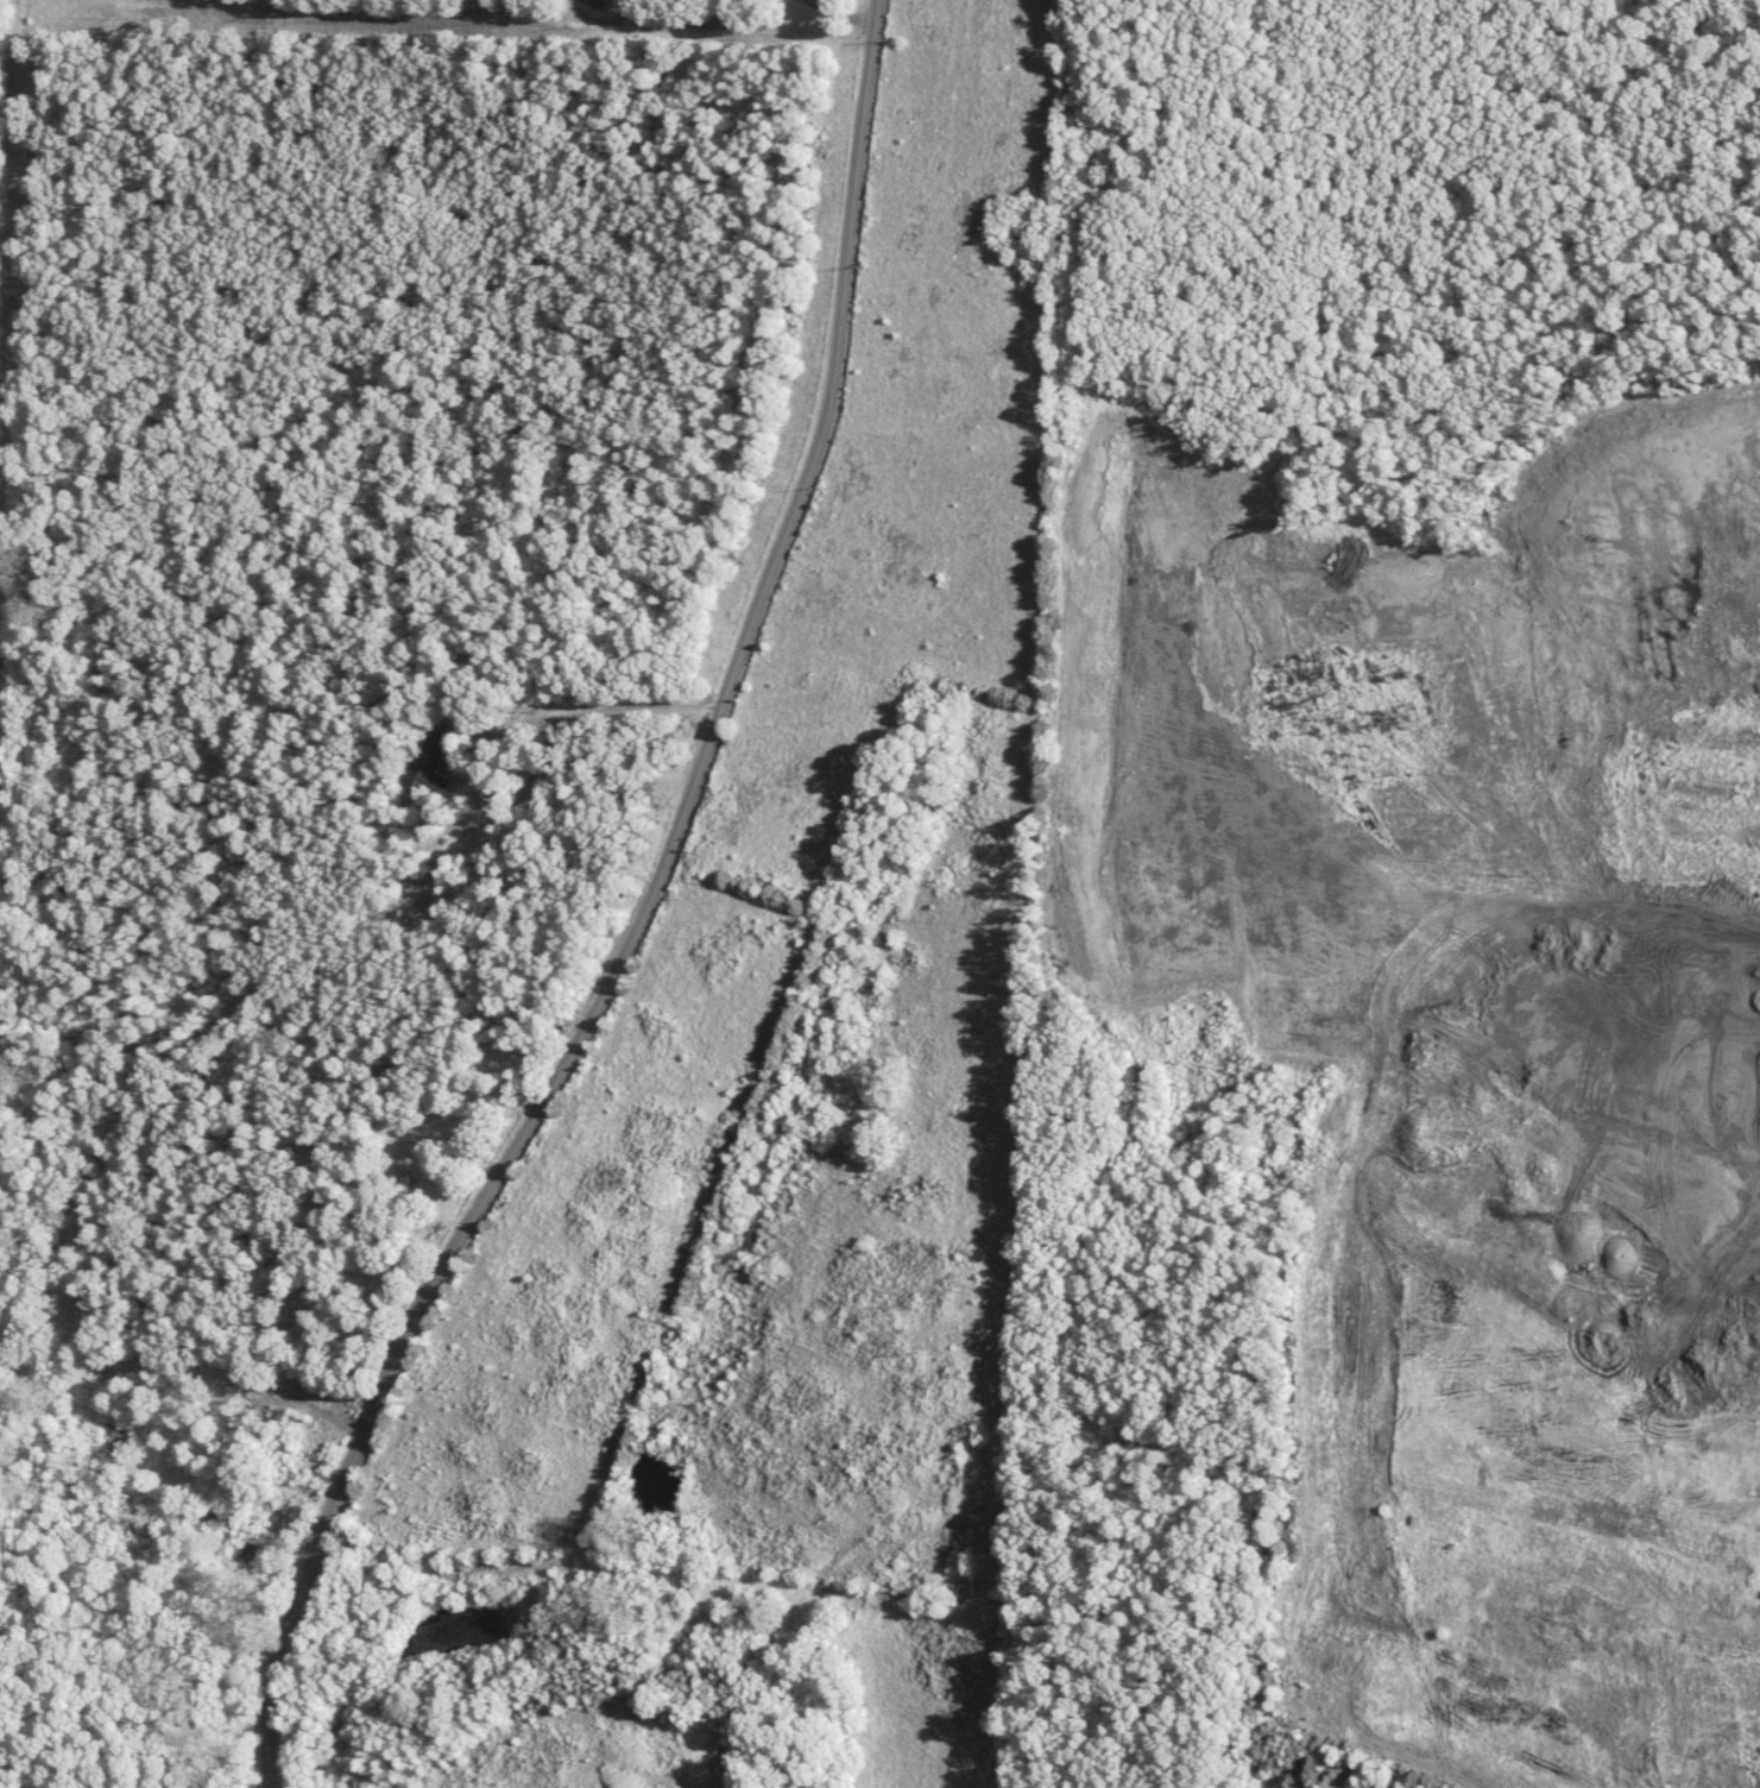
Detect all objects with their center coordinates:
building: (603, 2)
road: (1074, 403)
road: (501, 732)
building: (434, 767)
road: (642, 920)

